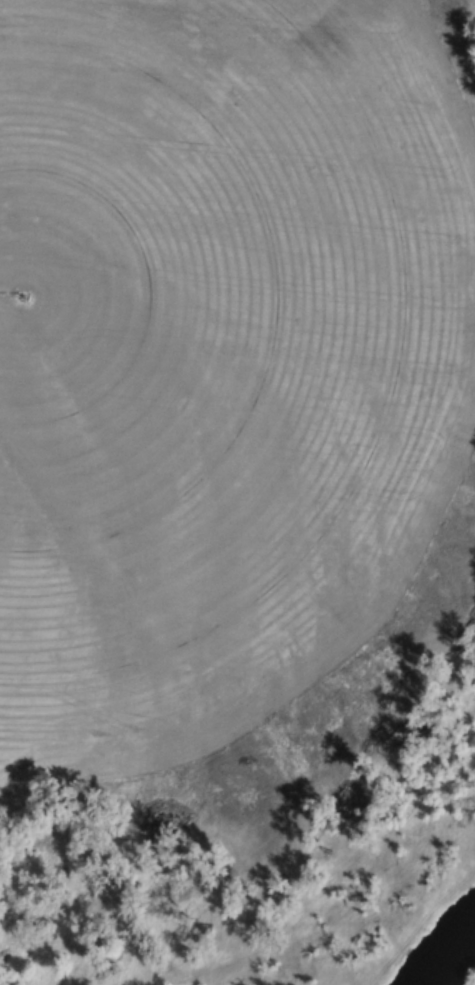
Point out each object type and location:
river: (454, 956)

